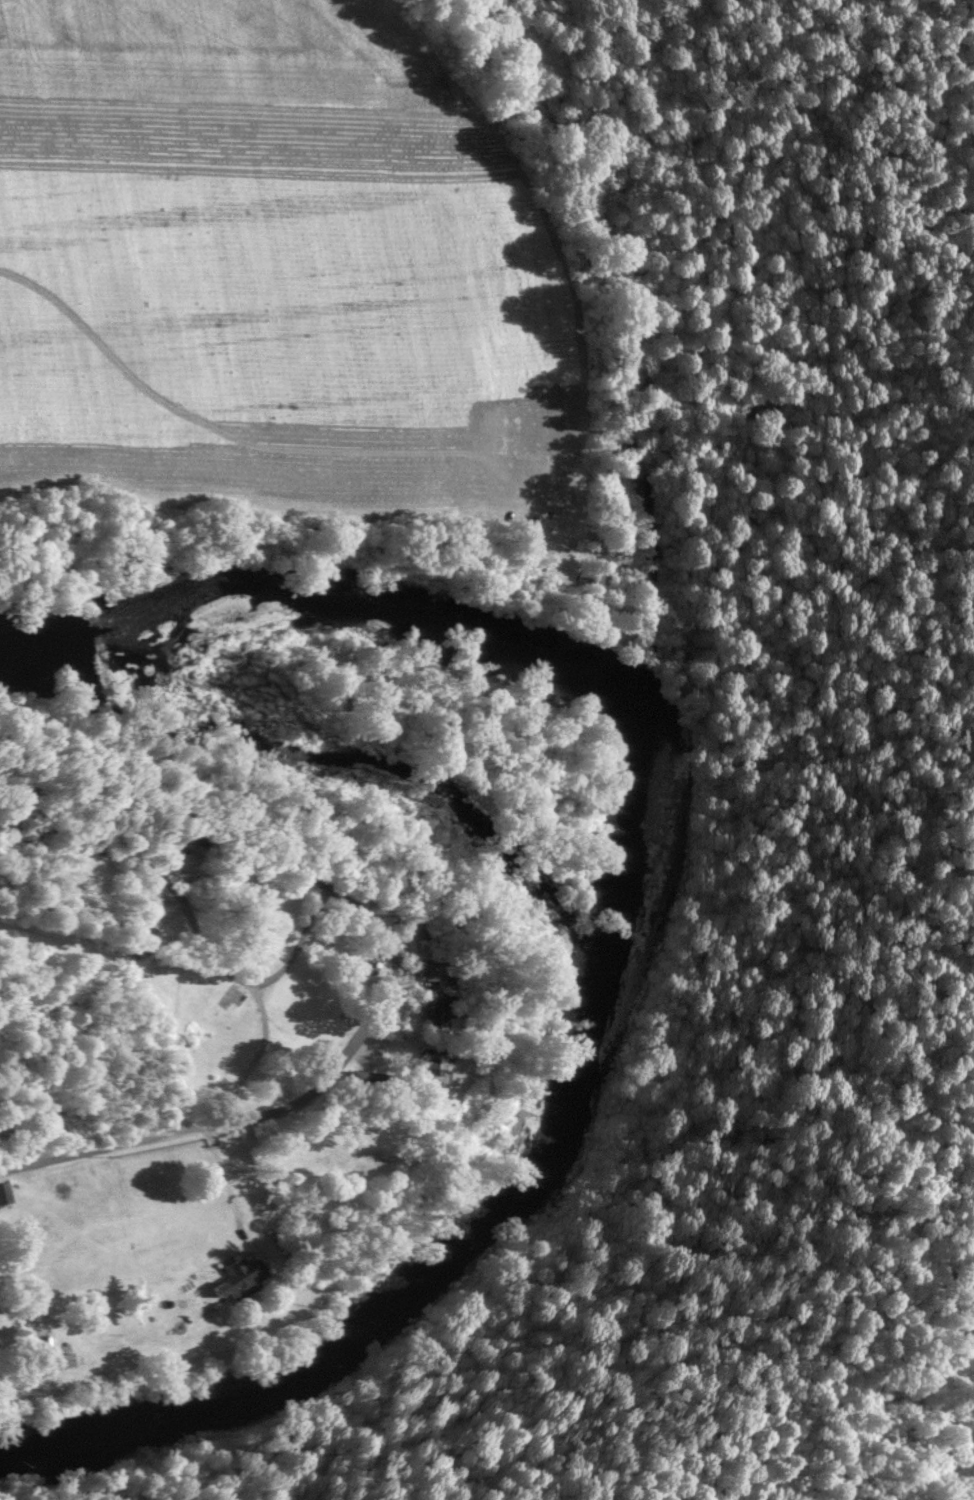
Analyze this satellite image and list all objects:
road: (185, 906)
building: (139, 942)
river: (636, 947)
building: (435, 1011)
building: (428, 1061)
building: (363, 1079)
road: (273, 1108)
road: (230, 1181)
building: (3, 1197)
building: (237, 1277)
building: (52, 1355)

